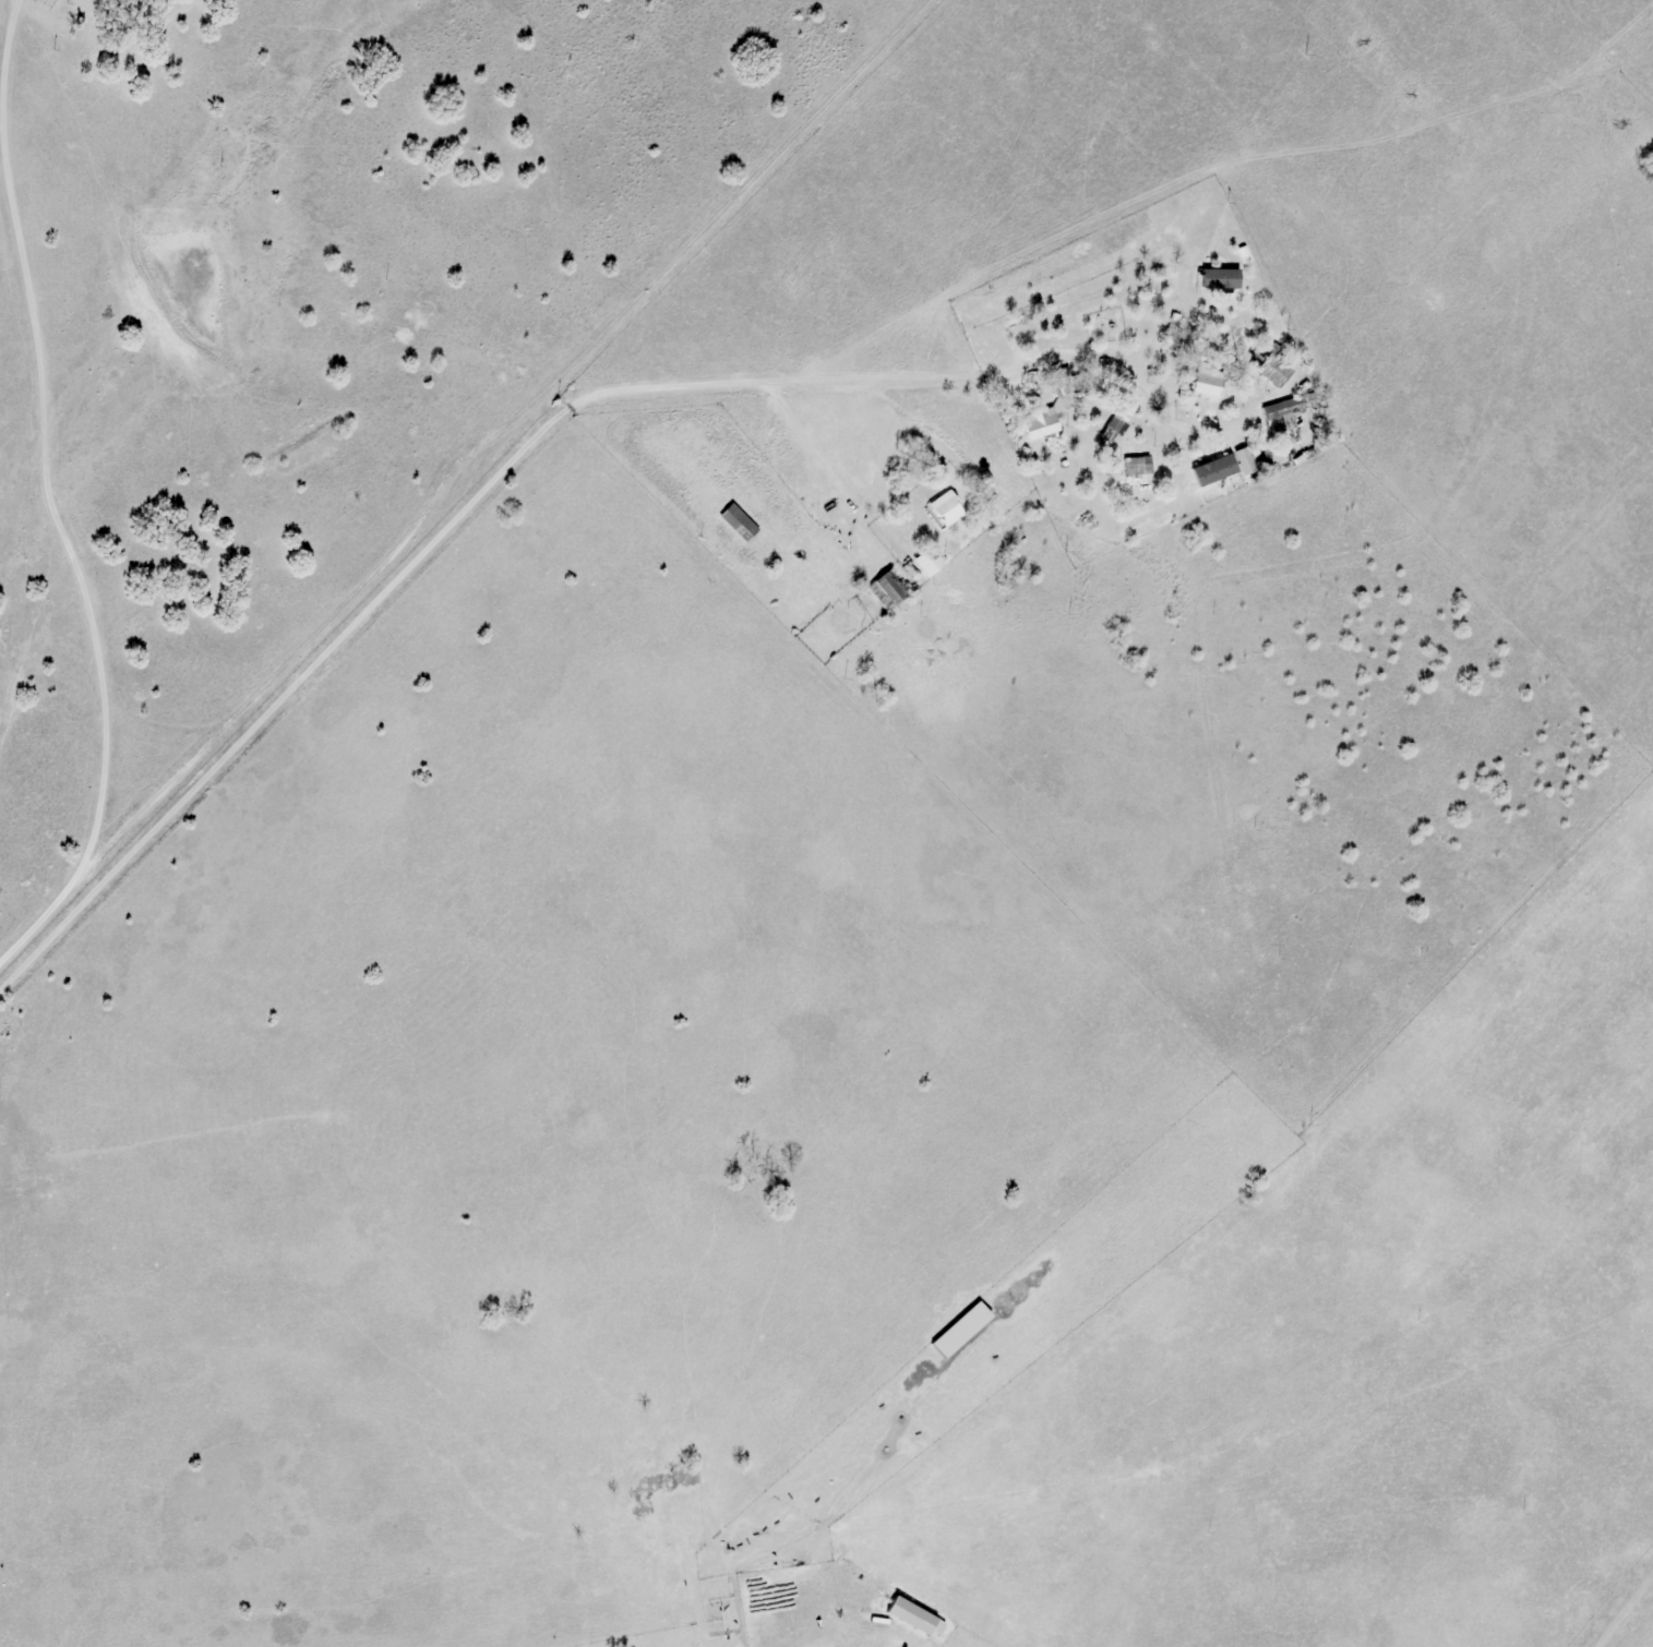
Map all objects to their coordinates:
building: (1273, 370)
building: (1209, 384)
building: (1287, 408)
building: (1041, 428)
building: (1112, 429)
building: (1219, 478)
building: (947, 508)
building: (738, 521)
road: (418, 557)
building: (930, 562)
building: (889, 589)

